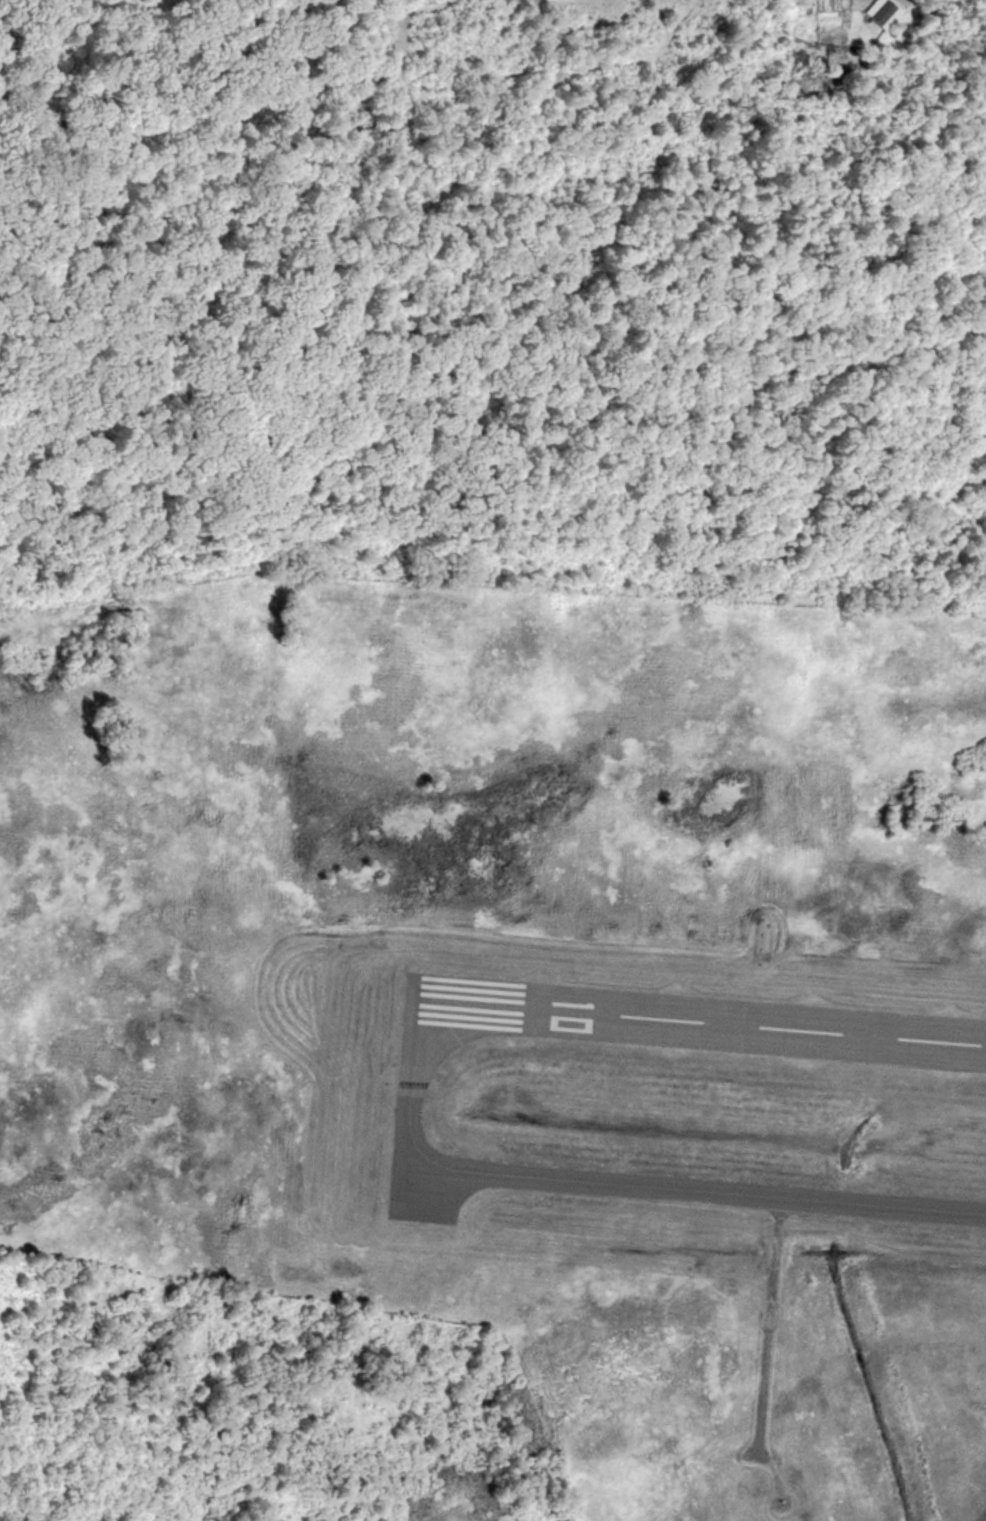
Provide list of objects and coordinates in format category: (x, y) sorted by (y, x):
airport runway: (397, 995)
airport runway: (693, 1017)
airport taxiway: (721, 1192)

